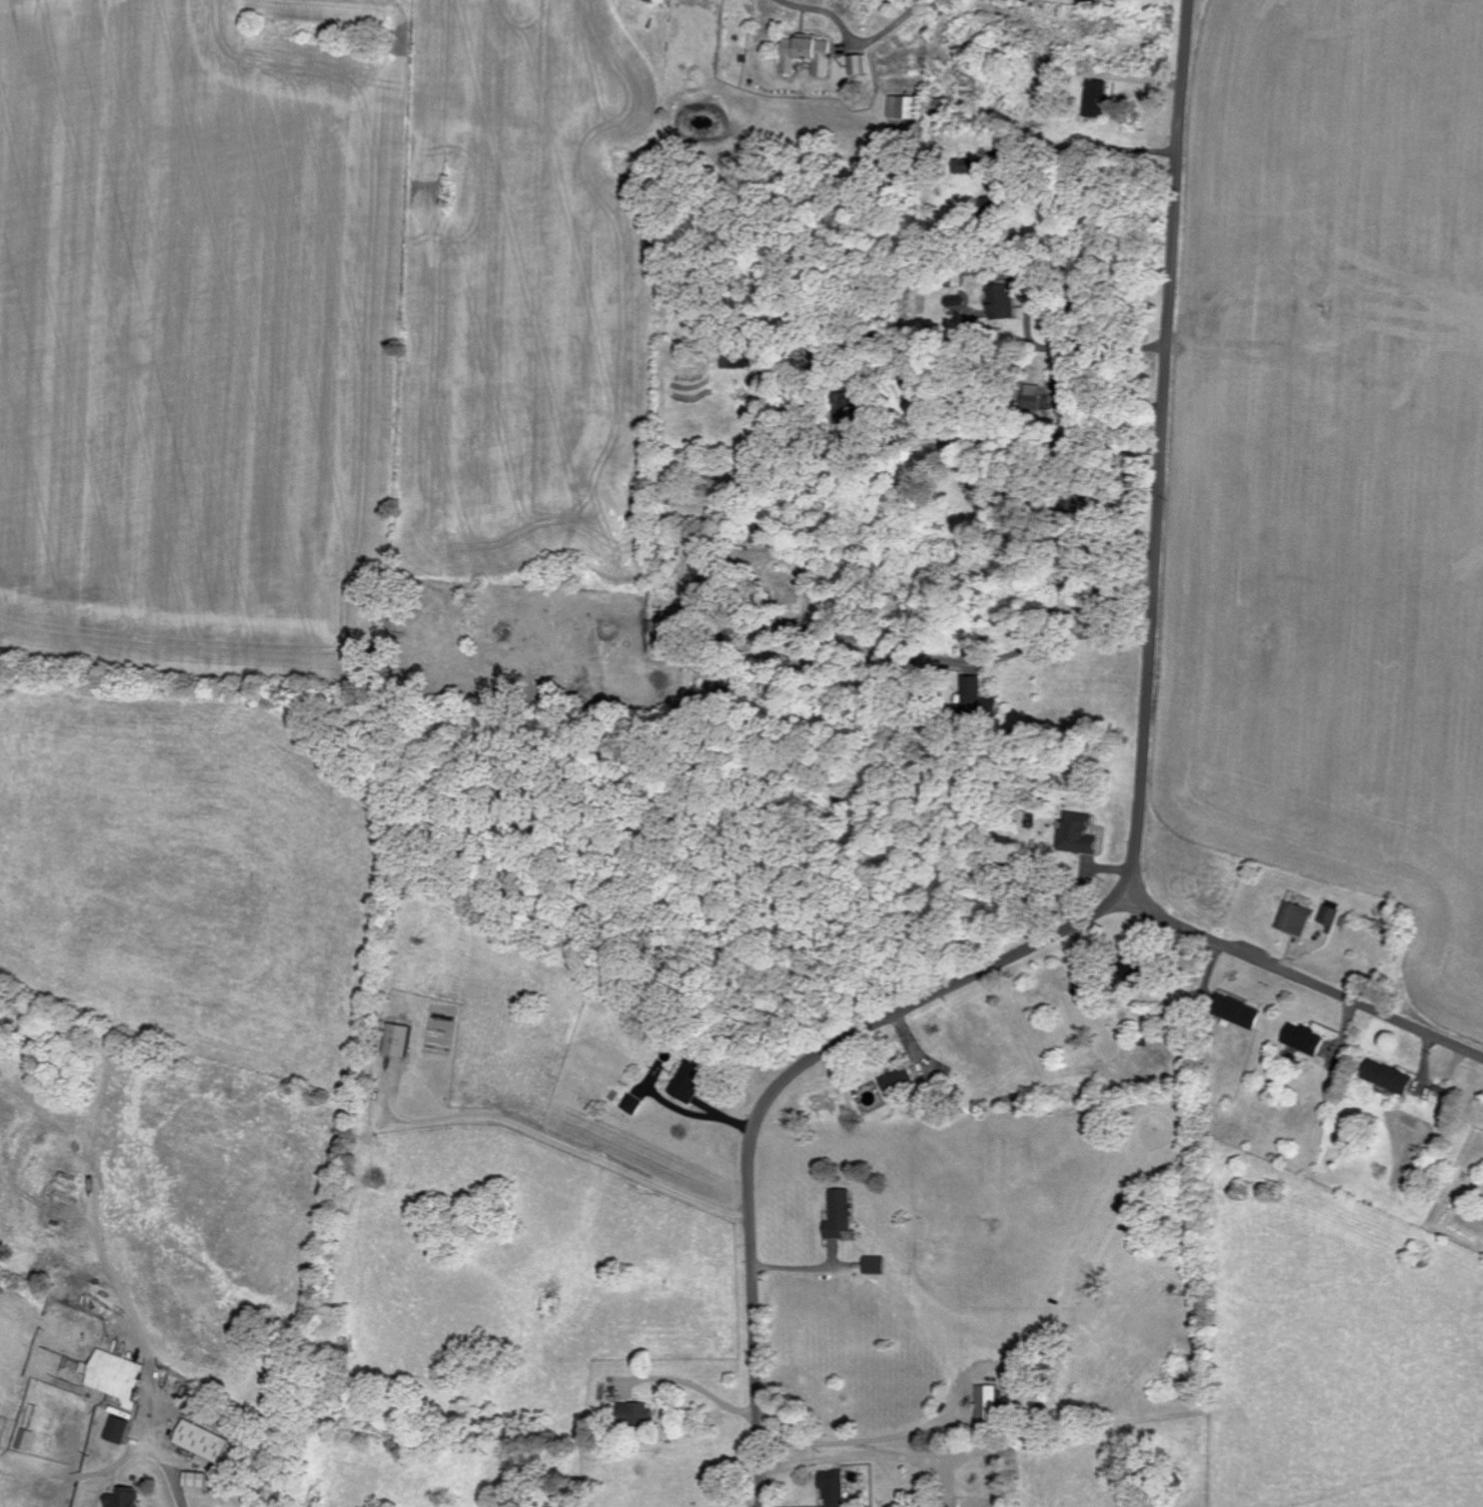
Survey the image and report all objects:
building: (1087, 0)
building: (658, 1)
building: (807, 53)
building: (859, 64)
building: (1096, 97)
building: (903, 107)
building: (1003, 301)
building: (1069, 381)
road: (1165, 452)
building: (978, 699)
building: (1078, 833)
building: (1331, 912)
building: (1296, 917)
road: (1305, 980)
building: (1238, 1010)
building: (1305, 1038)
building: (397, 1039)
building: (1389, 1076)
building: (899, 1078)
building: (693, 1081)
road: (771, 1100)
building: (632, 1103)
road: (555, 1141)
building: (838, 1213)
building: (874, 1264)
building: (117, 1376)
road: (692, 1385)
building: (986, 1403)
building: (635, 1412)
building: (118, 1429)
building: (24, 1440)
road: (868, 1440)
building: (203, 1441)
road: (164, 1457)
building: (196, 1479)
building: (914, 1486)
building: (833, 1487)
building: (123, 1497)

